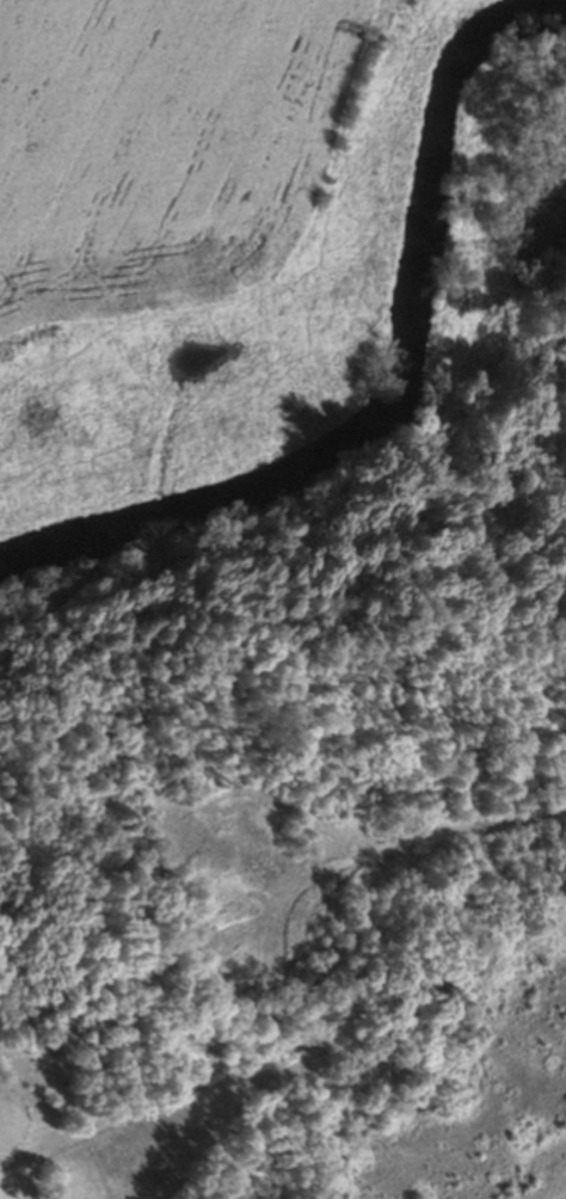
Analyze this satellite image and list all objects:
river: (392, 400)

